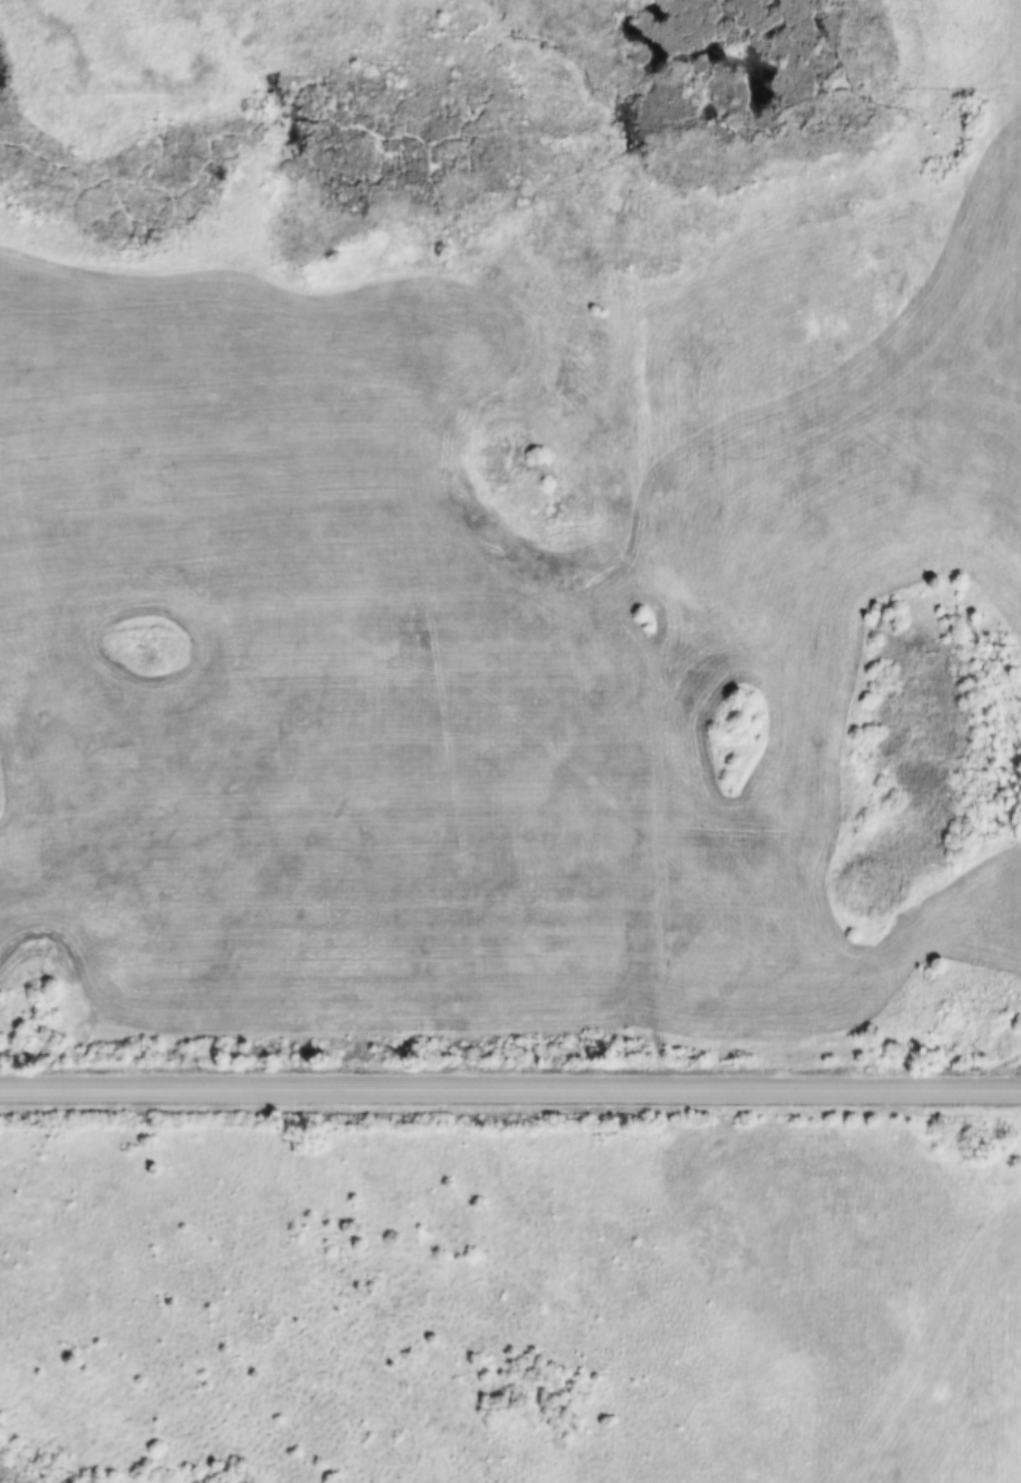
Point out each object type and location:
road: (510, 1085)

